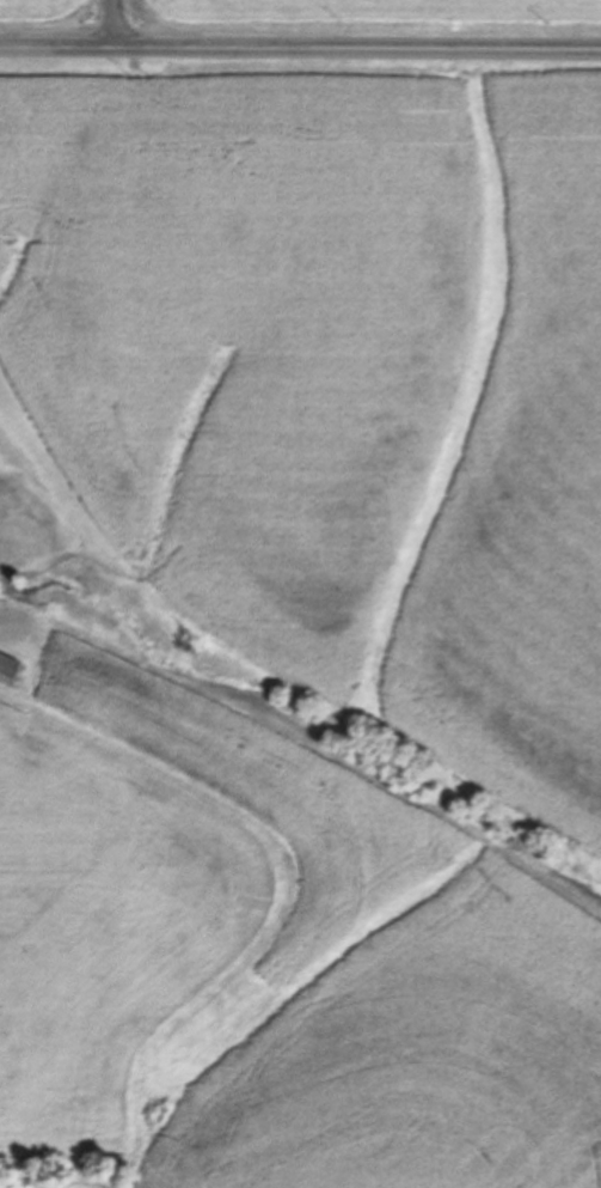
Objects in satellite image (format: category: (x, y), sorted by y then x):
road: (103, 28)
road: (300, 55)

